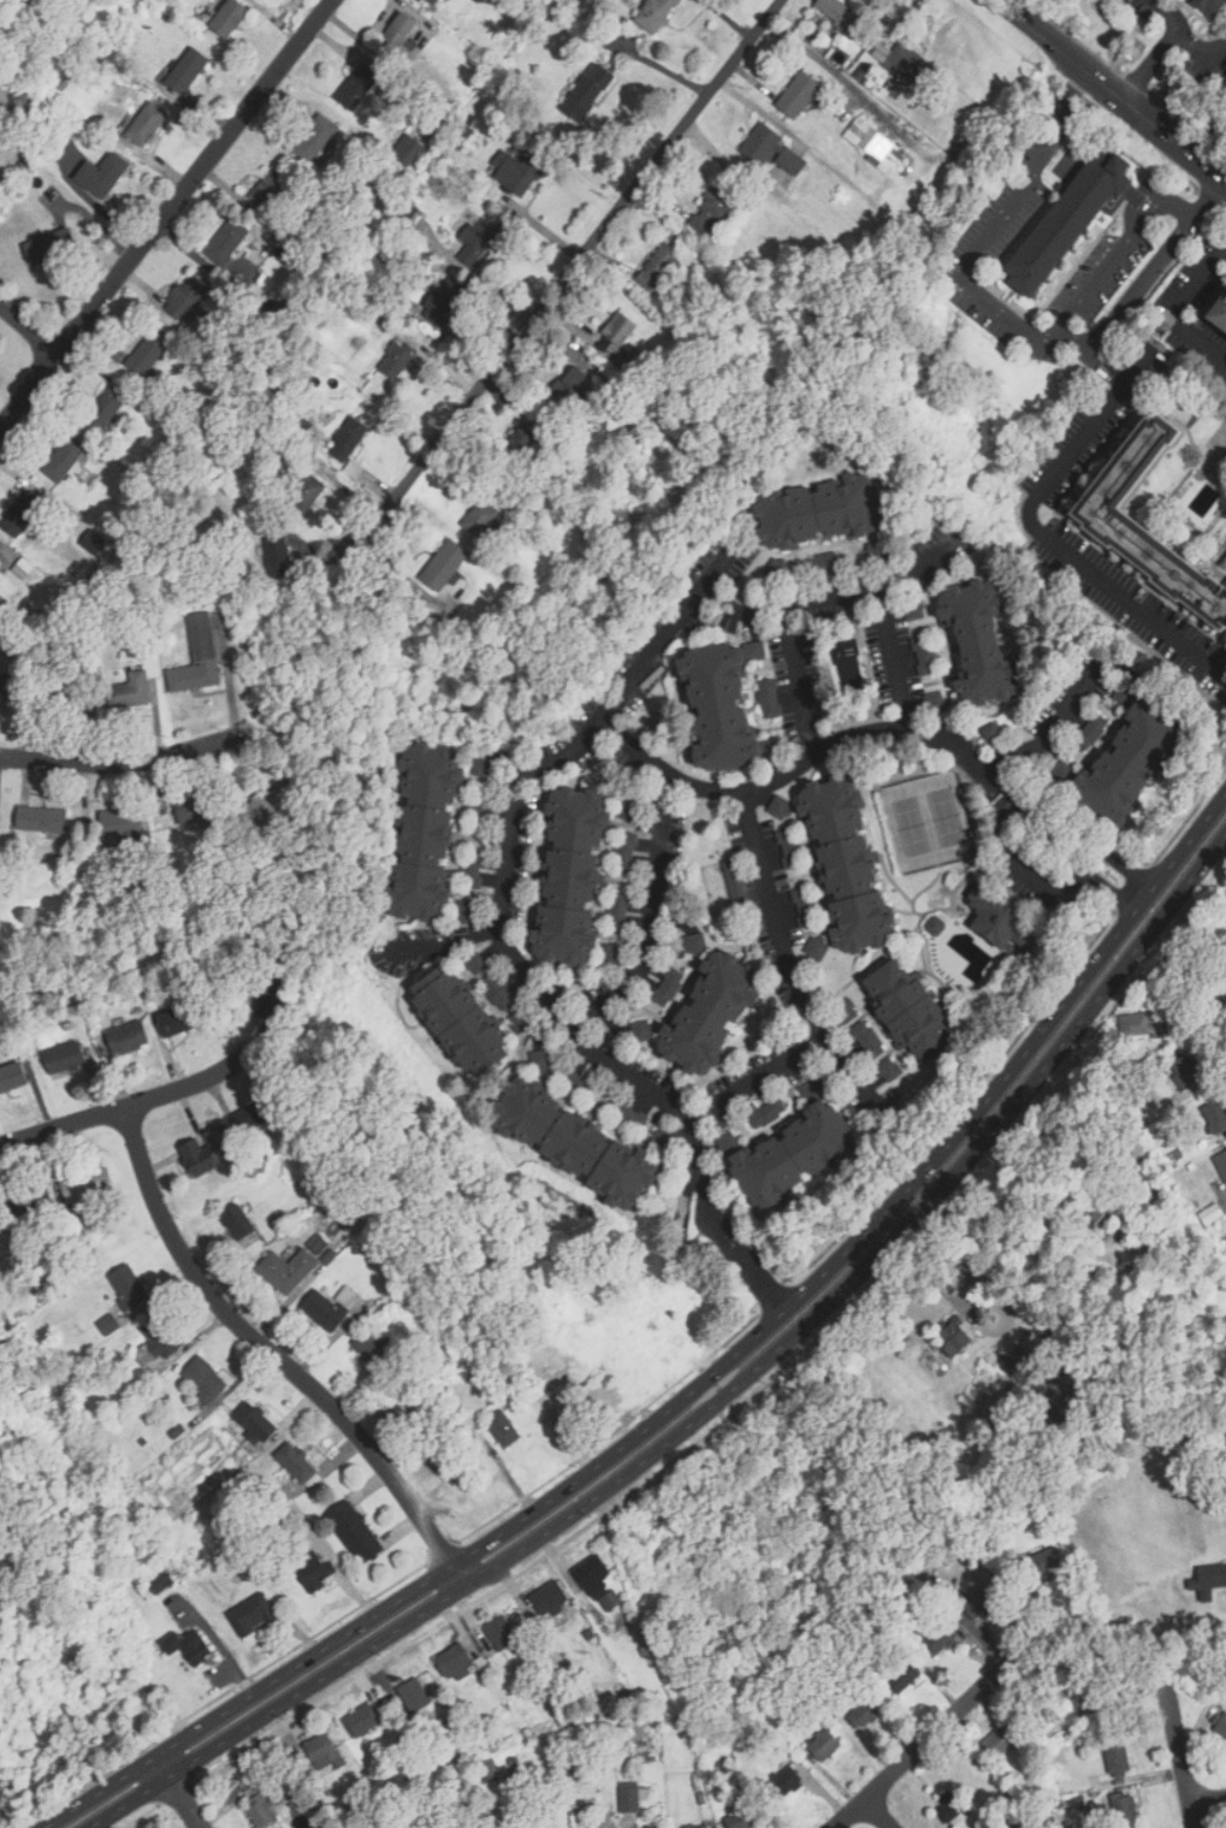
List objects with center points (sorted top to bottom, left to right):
building: (433, 1)
building: (1213, 5)
building: (655, 13)
building: (841, 14)
road: (1168, 14)
building: (229, 18)
building: (401, 31)
road: (1203, 52)
building: (908, 64)
road: (1151, 69)
building: (186, 71)
building: (357, 85)
building: (587, 91)
road: (1112, 93)
building: (798, 94)
building: (149, 120)
building: (315, 138)
building: (873, 143)
building: (770, 149)
building: (409, 150)
building: (514, 171)
building: (102, 174)
building: (271, 190)
building: (712, 209)
building: (1070, 213)
road: (166, 214)
building: (476, 241)
building: (227, 242)
building: (46, 248)
road: (1117, 256)
building: (658, 266)
road: (570, 273)
building: (186, 296)
building: (443, 301)
road: (1172, 304)
building: (1219, 312)
road: (1007, 319)
road: (28, 329)
building: (616, 333)
building: (148, 351)
building: (396, 359)
building: (628, 363)
building: (571, 386)
building: (105, 408)
building: (521, 436)
building: (347, 439)
building: (64, 459)
building: (306, 491)
building: (819, 510)
building: (22, 511)
building: (1101, 513)
building: (481, 517)
road: (1046, 537)
building: (93, 542)
building: (0, 551)
building: (277, 555)
building: (824, 562)
building: (444, 564)
building: (1224, 566)
building: (19, 569)
building: (777, 569)
road: (828, 596)
building: (981, 643)
building: (925, 656)
building: (197, 657)
road: (892, 658)
road: (227, 675)
road: (793, 681)
building: (1126, 687)
building: (10, 688)
building: (64, 691)
building: (128, 691)
building: (769, 698)
building: (935, 702)
building: (717, 705)
road: (1049, 728)
building: (1091, 730)
building: (990, 732)
road: (125, 759)
building: (1131, 762)
building: (484, 765)
road: (798, 765)
building: (266, 804)
building: (780, 806)
building: (195, 810)
building: (42, 820)
park: (930, 821)
building: (120, 822)
building: (426, 832)
road: (1076, 841)
road: (1187, 845)
building: (789, 848)
building: (626, 851)
building: (848, 864)
road: (1197, 870)
building: (571, 875)
road: (1043, 885)
road: (502, 894)
building: (805, 907)
building: (620, 910)
building: (1000, 917)
road: (650, 918)
building: (695, 942)
road: (440, 943)
building: (817, 947)
building: (667, 984)
road: (796, 988)
building: (261, 992)
building: (498, 992)
road: (1202, 993)
building: (911, 1011)
building: (711, 1012)
building: (846, 1013)
building: (183, 1019)
building: (461, 1021)
building: (1142, 1027)
building: (642, 1030)
building: (128, 1037)
building: (867, 1040)
building: (64, 1057)
road: (845, 1066)
building: (889, 1069)
building: (1185, 1070)
building: (11, 1077)
road: (128, 1104)
building: (765, 1111)
road: (977, 1111)
building: (256, 1113)
building: (1215, 1114)
road: (995, 1125)
building: (575, 1141)
building: (207, 1150)
building: (793, 1153)
building: (1221, 1163)
building: (87, 1185)
building: (28, 1201)
building: (1097, 1211)
building: (1210, 1214)
building: (237, 1221)
building: (320, 1244)
building: (286, 1270)
road: (757, 1274)
building: (128, 1286)
building: (324, 1309)
building: (108, 1324)
building: (953, 1336)
building: (158, 1341)
building: (374, 1348)
building: (1035, 1348)
road: (277, 1355)
building: (205, 1379)
building: (254, 1421)
building: (503, 1428)
road: (626, 1444)
road: (640, 1461)
building: (296, 1462)
building: (355, 1532)
building: (1043, 1563)
building: (313, 1572)
building: (1210, 1580)
building: (159, 1583)
building: (597, 1583)
building: (549, 1598)
building: (977, 1603)
building: (251, 1615)
building: (501, 1633)
building: (944, 1643)
building: (188, 1646)
building: (454, 1662)
building: (901, 1678)
building: (413, 1694)
road: (249, 1696)
road: (278, 1705)
building: (1106, 1706)
building: (864, 1712)
park: (48, 1715)
building: (361, 1721)
building: (1221, 1726)
road: (929, 1738)
building: (1001, 1739)
building: (824, 1745)
building: (322, 1752)
building: (1117, 1756)
road: (1183, 1757)
building: (784, 1781)
road: (174, 1793)
building: (0, 1794)
road: (1208, 1799)
building: (629, 1800)
building: (948, 1806)
building: (260, 1810)
building: (1124, 1810)
road: (879, 1812)
building: (747, 1816)
building: (650, 1827)
building: (698, 1827)

